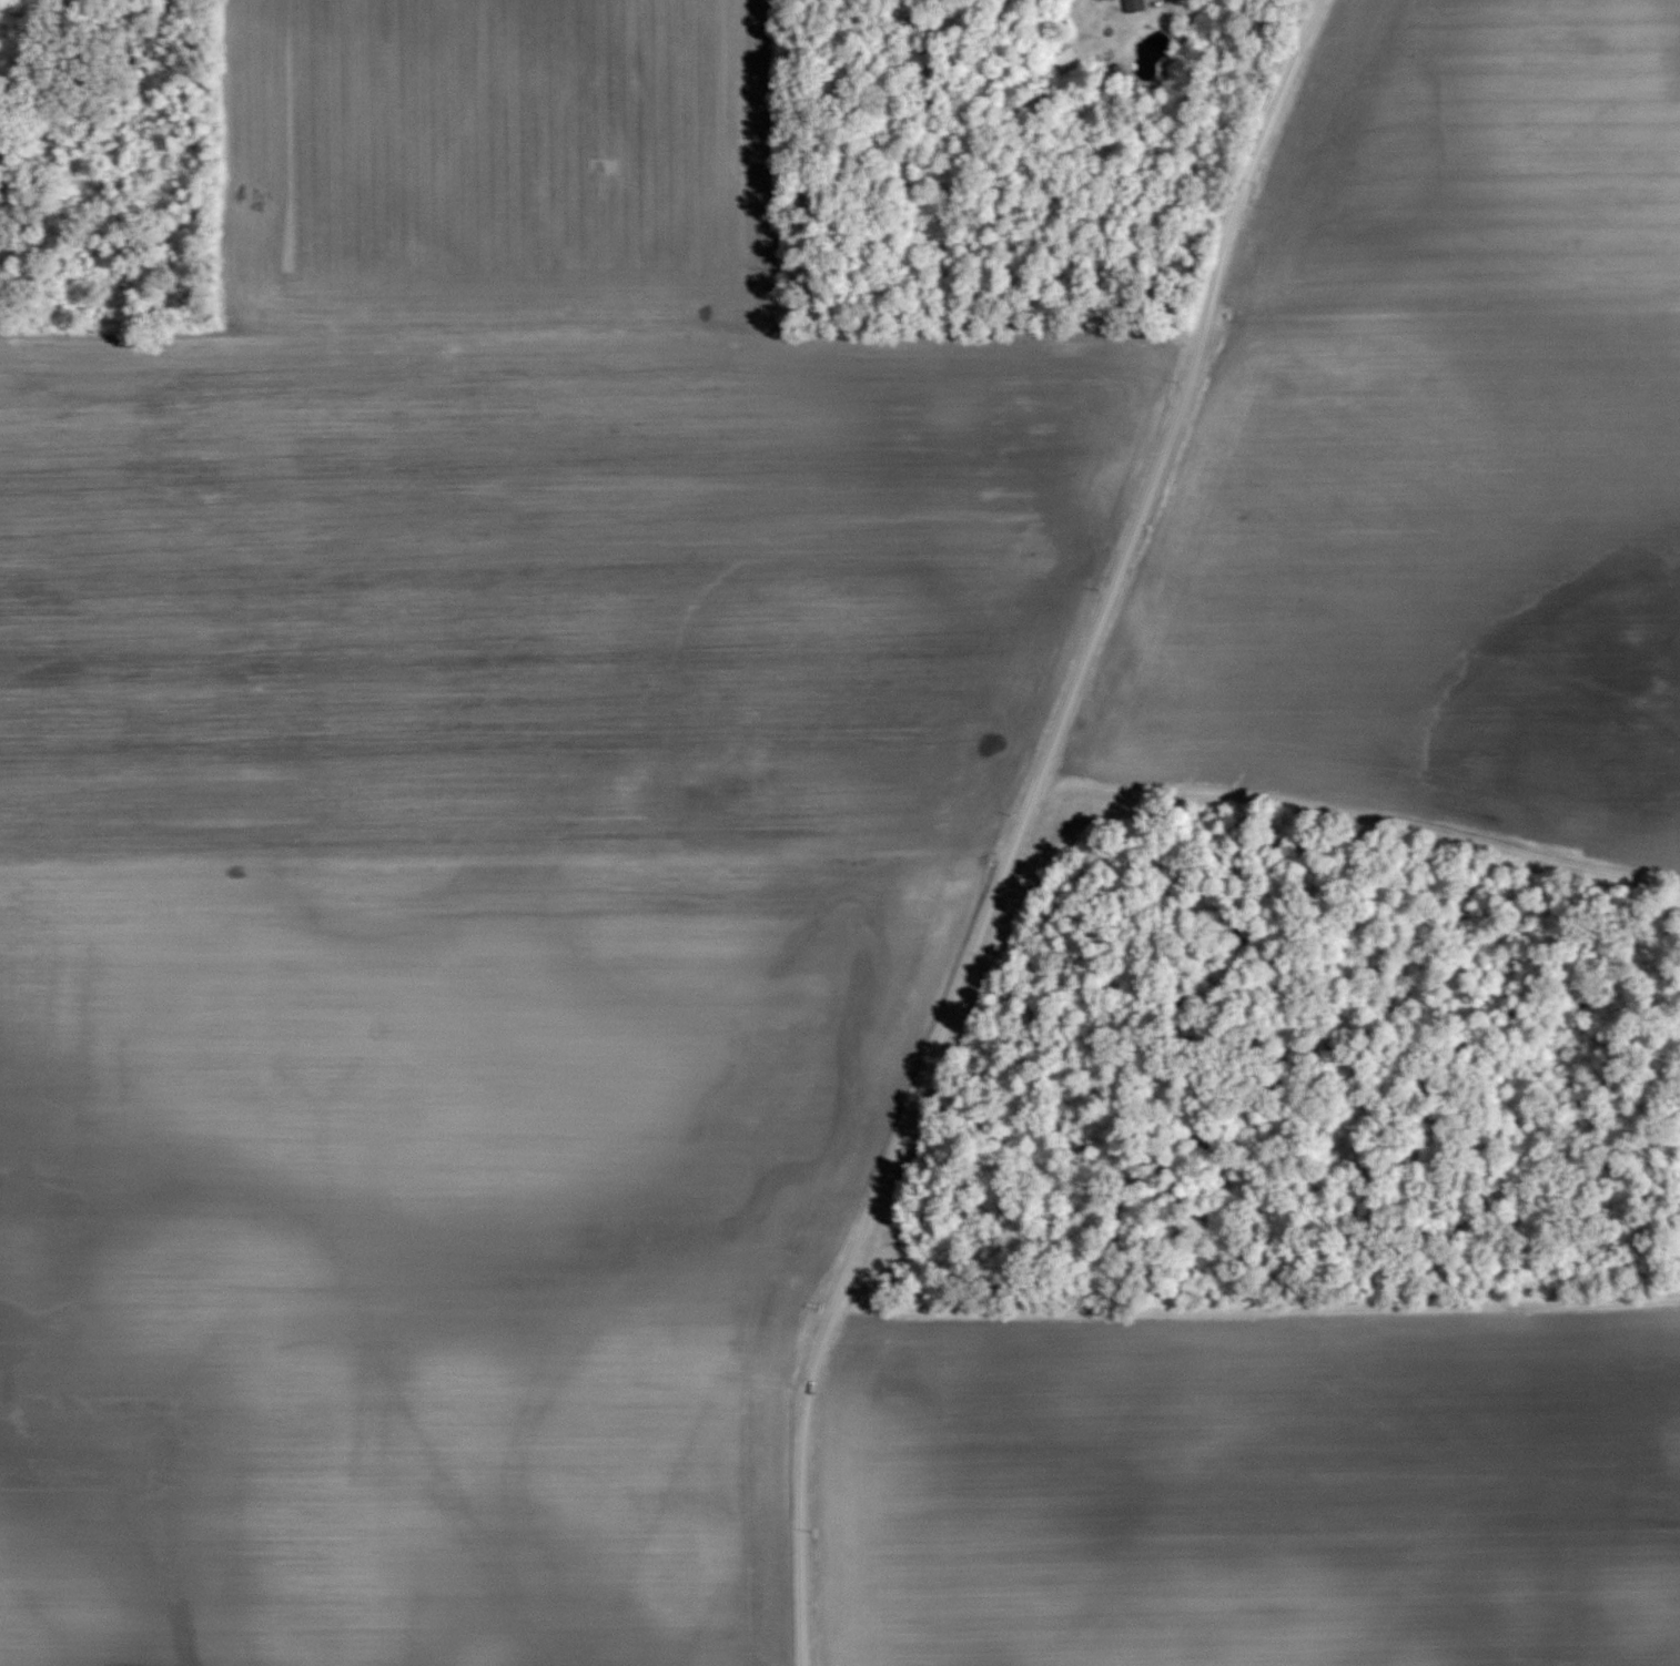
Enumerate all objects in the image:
building: (1133, 4)
road: (1020, 825)

